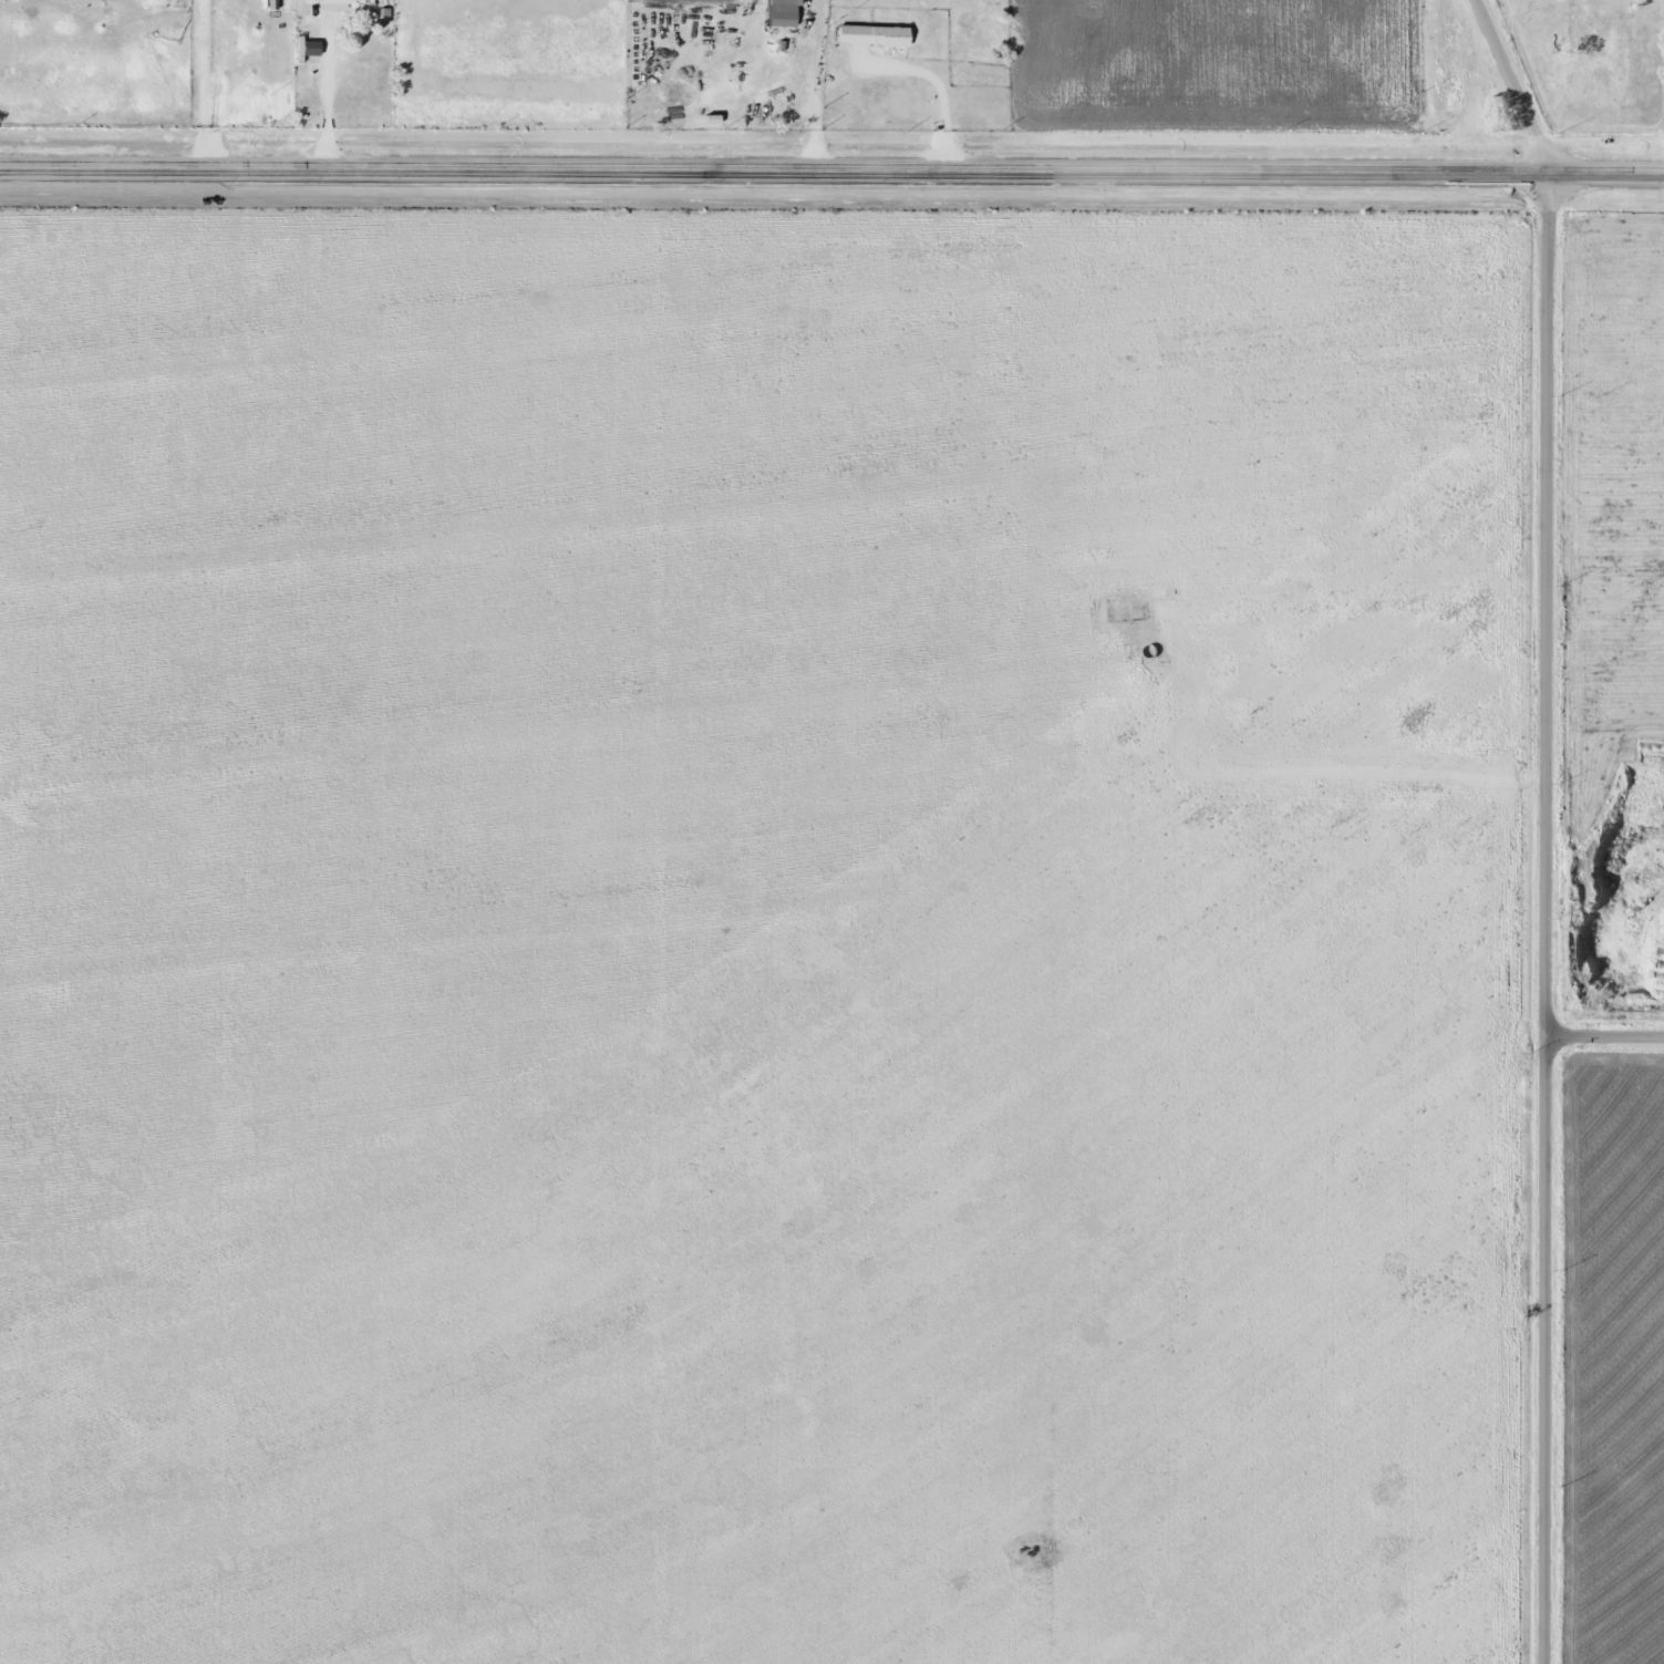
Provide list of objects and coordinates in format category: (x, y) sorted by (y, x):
building: (331, 3)
building: (778, 12)
building: (867, 35)
building: (311, 48)
road: (1511, 86)
road: (831, 170)
road: (1546, 919)
road: (1605, 1042)

